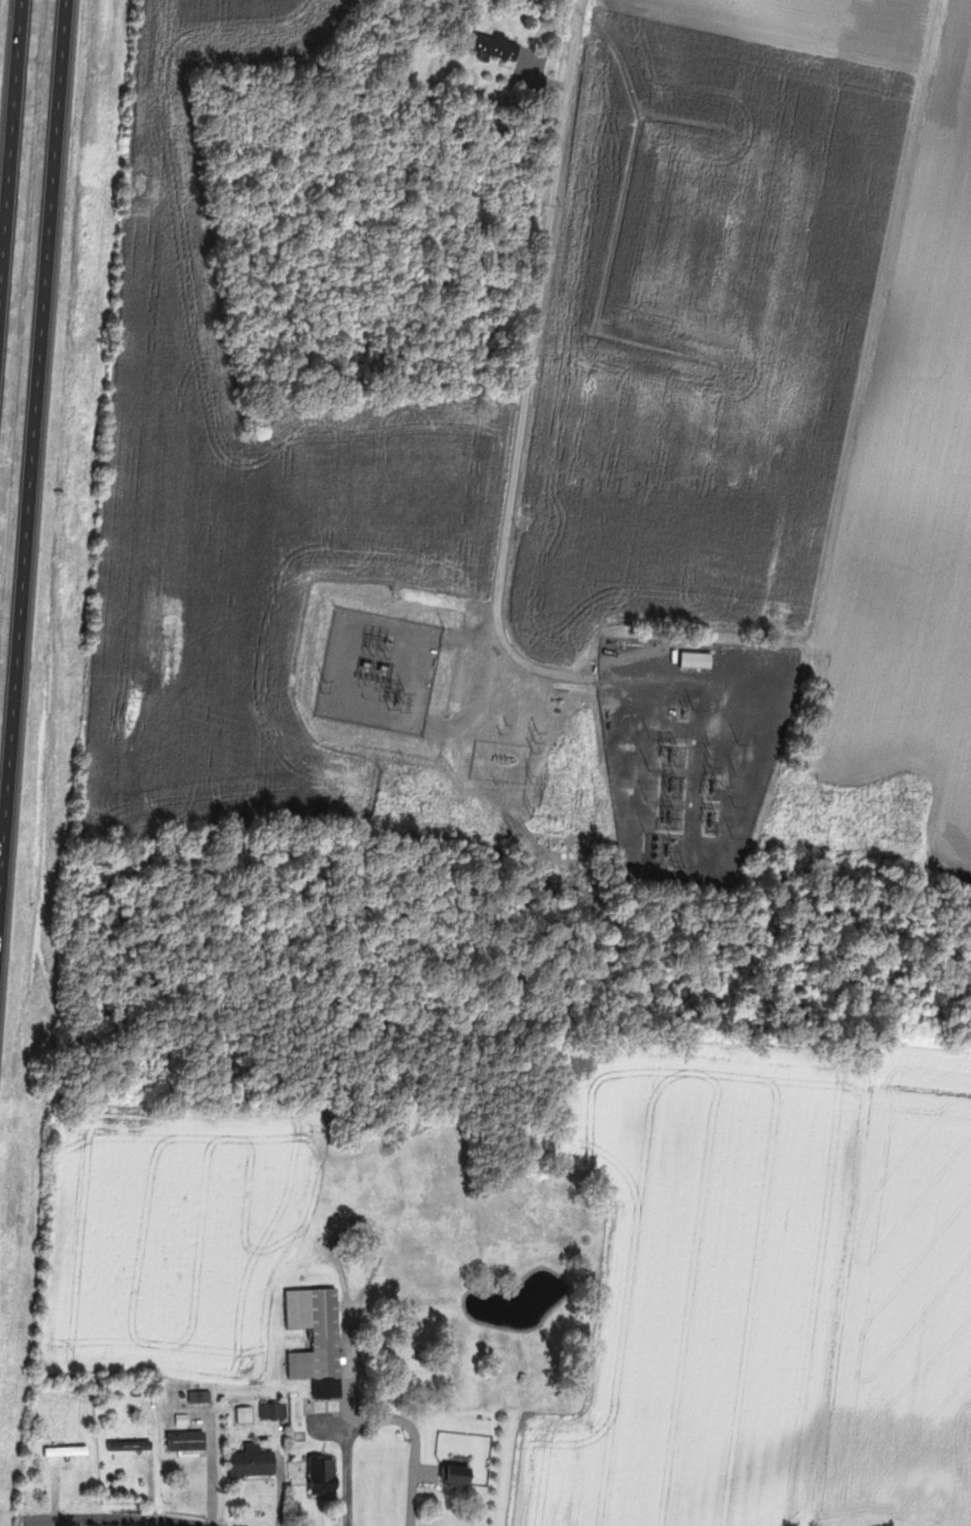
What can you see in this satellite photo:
building: (498, 47)
road: (12, 163)
road: (533, 344)
road: (36, 484)
building: (698, 660)
power substation: (381, 671)
power tower: (326, 685)
power tower: (139, 693)
power tower: (398, 701)
power tower: (130, 723)
power tower: (537, 742)
power substation: (693, 748)
power tower: (673, 755)
power tower: (405, 772)
power tower: (533, 780)
power tower: (672, 785)
power tower: (713, 791)
power tower: (825, 796)
power tower: (906, 800)
power tower: (399, 803)
power tower: (532, 809)
power tower: (671, 816)
power tower: (712, 821)
power tower: (822, 826)
power tower: (901, 830)
building: (319, 1339)
road: (386, 1418)
building: (189, 1441)
building: (255, 1462)
building: (327, 1471)
building: (459, 1476)
road: (106, 1522)

